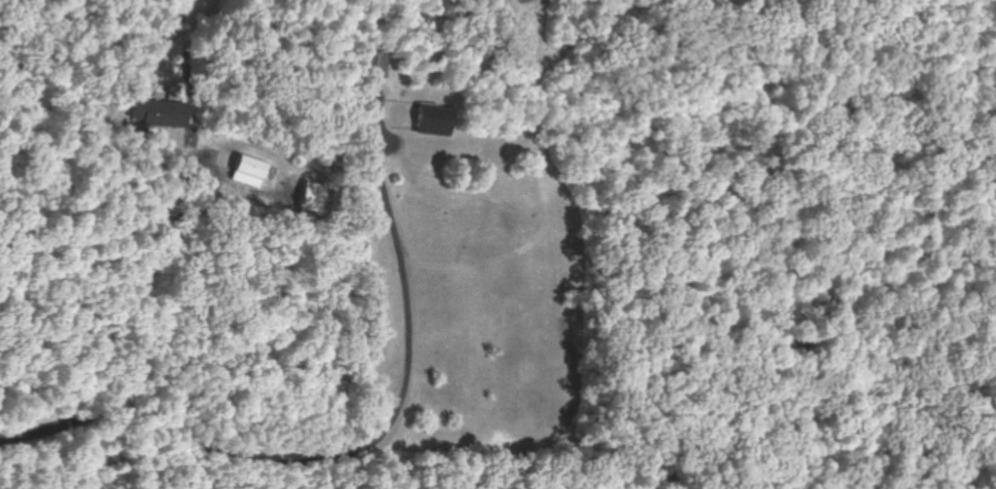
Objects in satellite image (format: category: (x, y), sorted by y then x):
building: (376, 63)
building: (158, 112)
building: (432, 118)
building: (248, 169)
road: (138, 349)
road: (326, 433)

